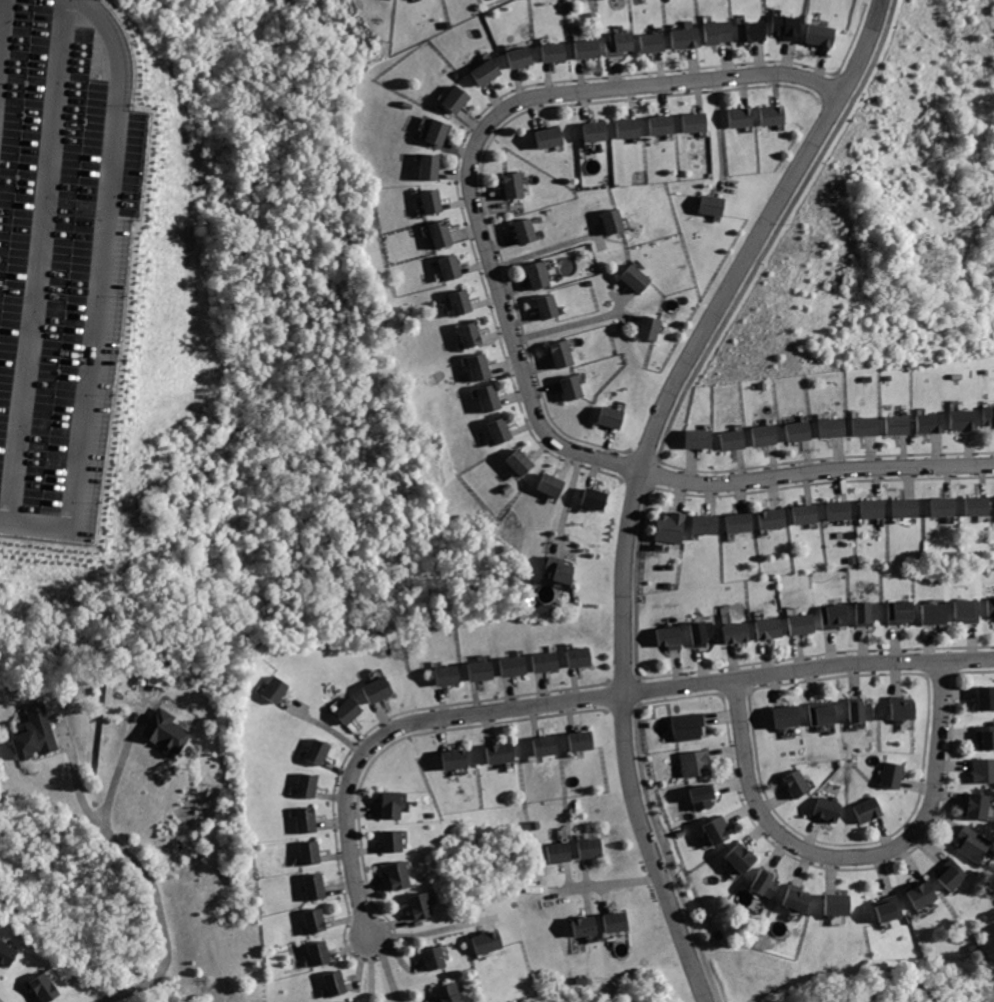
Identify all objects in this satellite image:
park: (832, 5)
road: (1, 12)
building: (789, 27)
building: (754, 30)
building: (718, 32)
building: (822, 36)
building: (687, 39)
building: (655, 42)
building: (621, 44)
building: (588, 50)
building: (556, 52)
building: (522, 57)
building: (488, 71)
building: (460, 100)
road: (506, 109)
building: (774, 115)
building: (742, 117)
building: (696, 122)
building: (663, 124)
building: (630, 128)
building: (599, 131)
building: (440, 132)
building: (552, 137)
road: (721, 138)
building: (433, 167)
building: (518, 185)
building: (435, 200)
building: (714, 205)
building: (616, 222)
building: (529, 231)
building: (443, 233)
road: (774, 237)
road: (552, 248)
road: (37, 261)
building: (453, 267)
building: (541, 274)
building: (639, 277)
road: (97, 293)
building: (465, 301)
road: (628, 301)
building: (552, 305)
road: (581, 322)
building: (653, 328)
building: (473, 334)
building: (564, 354)
building: (483, 366)
building: (575, 386)
building: (493, 398)
building: (613, 416)
building: (990, 416)
building: (965, 419)
building: (933, 423)
building: (900, 425)
building: (868, 426)
building: (836, 428)
building: (504, 430)
building: (802, 431)
building: (767, 435)
building: (702, 439)
building: (736, 441)
building: (522, 462)
road: (641, 478)
road: (764, 479)
building: (554, 485)
building: (596, 499)
road: (569, 505)
building: (979, 506)
building: (946, 507)
building: (909, 508)
building: (874, 509)
building: (842, 511)
building: (809, 514)
building: (775, 518)
building: (742, 523)
building: (708, 525)
building: (674, 526)
building: (562, 570)
road: (639, 584)
building: (992, 607)
building: (903, 612)
building: (969, 612)
building: (870, 613)
building: (938, 614)
building: (836, 616)
building: (804, 624)
building: (772, 630)
building: (705, 634)
building: (740, 634)
building: (674, 639)
building: (582, 658)
building: (548, 662)
building: (516, 666)
building: (483, 670)
building: (449, 675)
building: (274, 690)
building: (378, 691)
building: (987, 698)
road: (579, 700)
building: (906, 708)
building: (863, 710)
building: (350, 712)
building: (825, 715)
building: (790, 717)
road: (325, 724)
building: (691, 725)
building: (169, 731)
building: (39, 733)
building: (986, 737)
building: (584, 742)
building: (548, 747)
road: (127, 751)
building: (319, 753)
building: (502, 754)
building: (458, 760)
building: (699, 763)
building: (984, 770)
building: (895, 776)
building: (801, 784)
building: (310, 786)
building: (706, 797)
building: (394, 807)
building: (981, 807)
building: (829, 809)
building: (871, 810)
building: (310, 821)
building: (720, 832)
building: (397, 842)
building: (976, 844)
building: (594, 848)
road: (668, 850)
building: (313, 852)
building: (562, 853)
building: (744, 858)
road: (857, 858)
road: (147, 873)
road: (590, 873)
building: (402, 875)
road: (572, 876)
building: (954, 876)
road: (611, 884)
building: (768, 884)
building: (318, 886)
building: (925, 895)
building: (800, 899)
road: (608, 901)
road: (589, 903)
building: (424, 906)
building: (841, 906)
building: (893, 909)
building: (318, 921)
building: (619, 923)
building: (587, 926)
road: (440, 930)
building: (491, 943)
building: (8, 953)
building: (324, 953)
building: (438, 958)
road: (391, 969)
road: (375, 971)
building: (339, 982)
building: (47, 989)
building: (450, 993)
building: (348, 1001)
building: (353, 1001)

